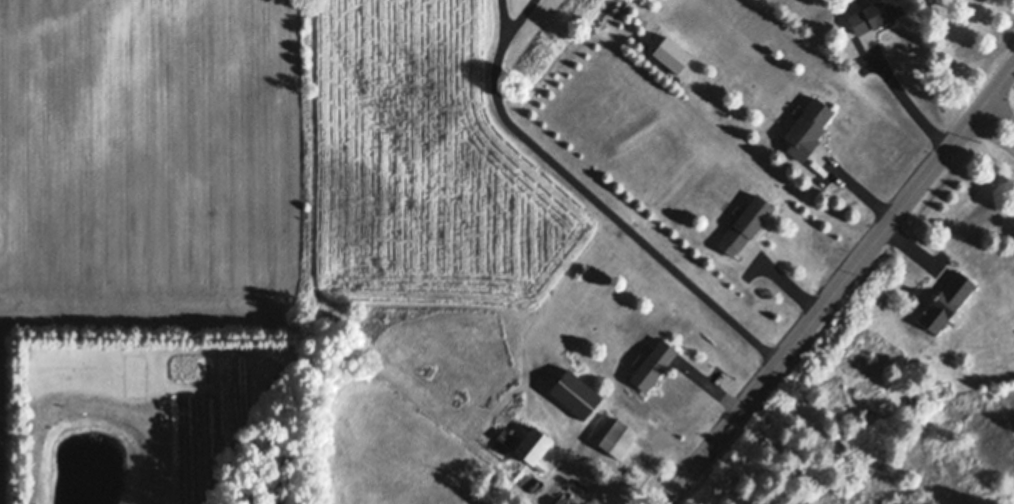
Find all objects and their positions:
building: (873, 13)
road: (500, 20)
road: (513, 20)
building: (858, 42)
building: (671, 52)
road: (907, 103)
road: (998, 124)
building: (807, 127)
road: (609, 214)
building: (745, 223)
road: (839, 284)
building: (946, 300)
building: (652, 363)
building: (575, 392)
building: (618, 436)
building: (528, 443)
building: (526, 482)
road: (592, 482)
road: (584, 493)
building: (561, 501)

